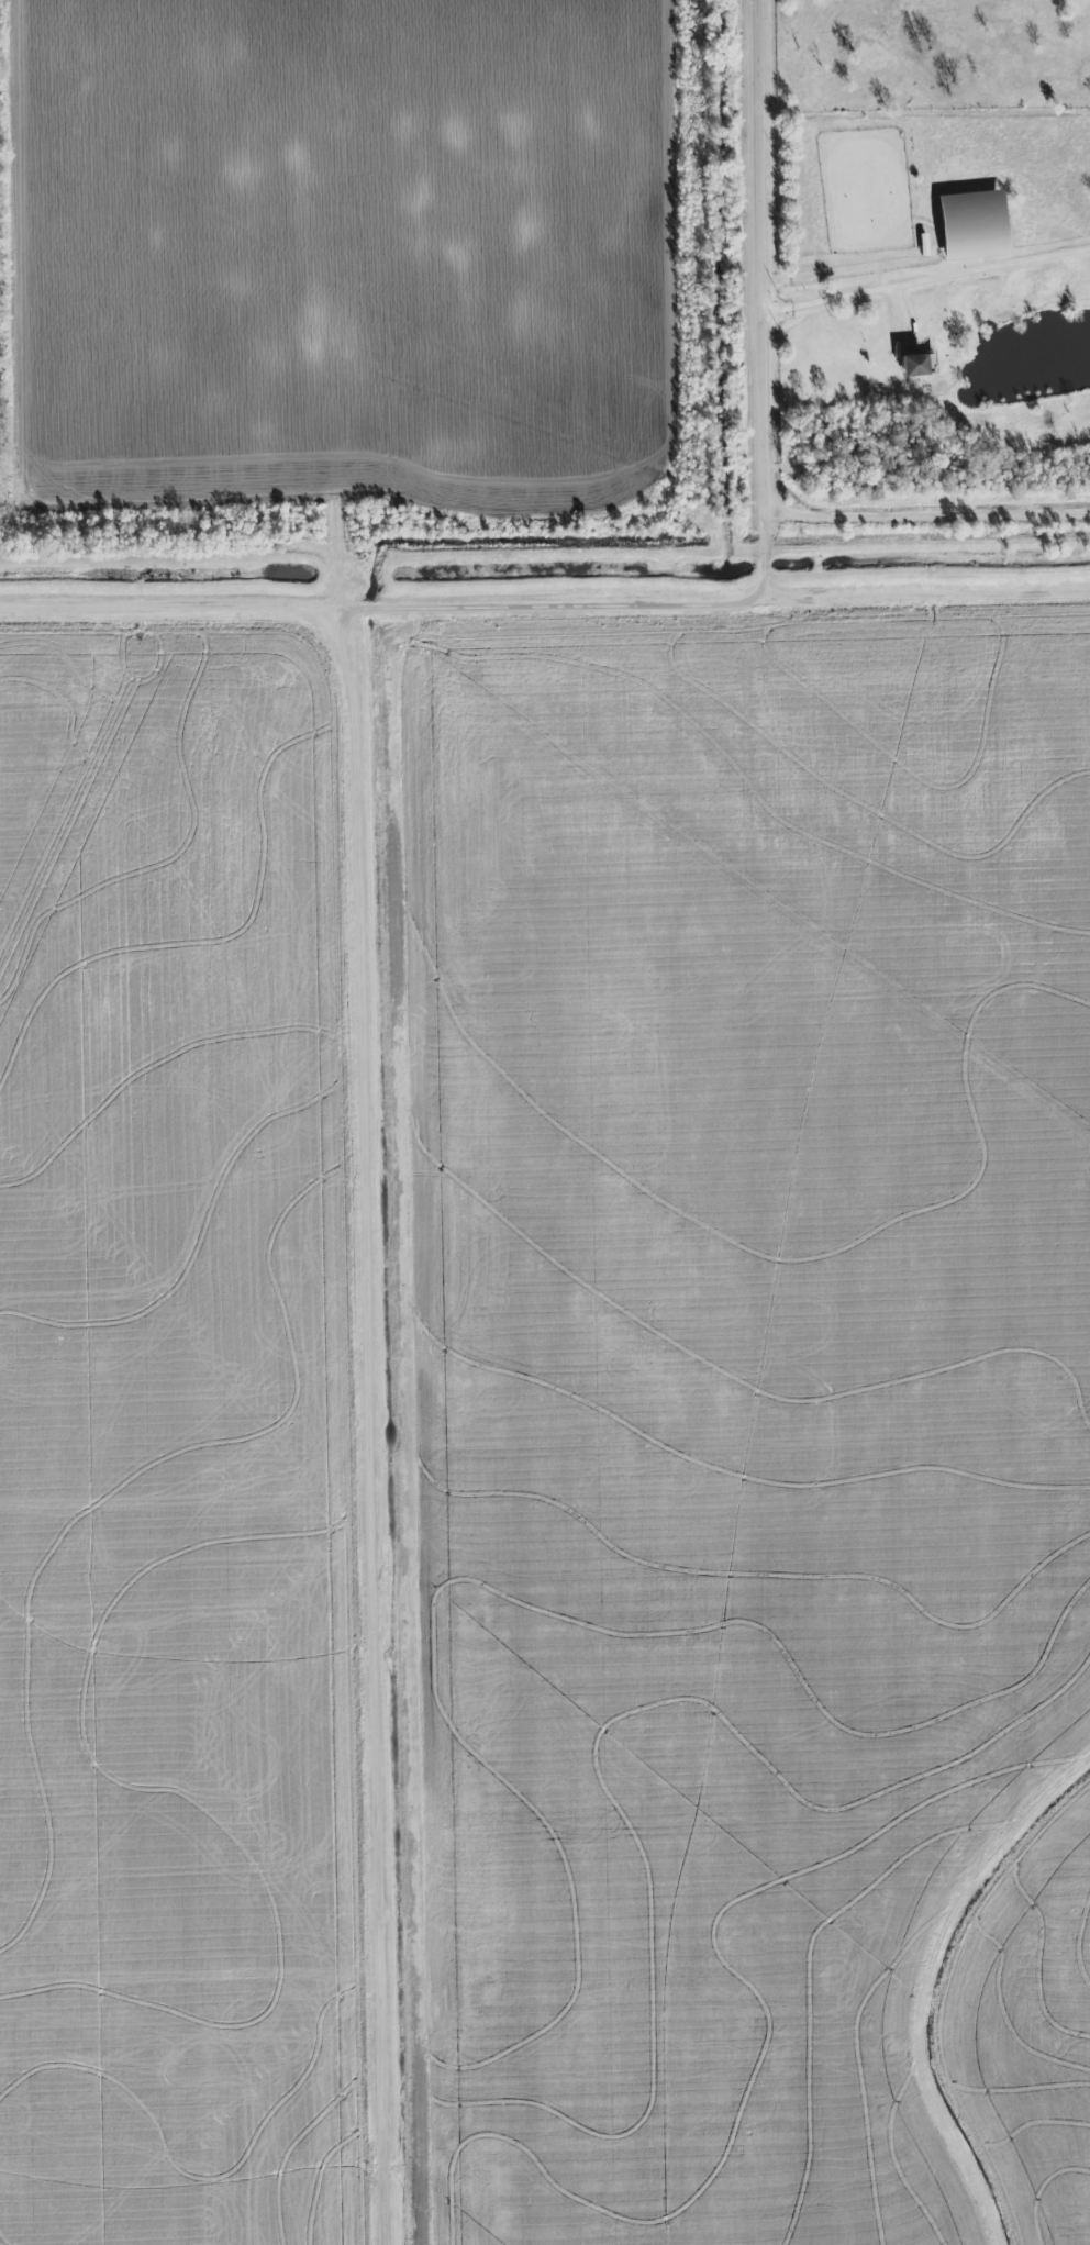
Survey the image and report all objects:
building: (970, 224)
road: (764, 274)
road: (857, 274)
road: (926, 279)
building: (912, 365)
road: (770, 566)
road: (548, 609)
road: (371, 1426)

